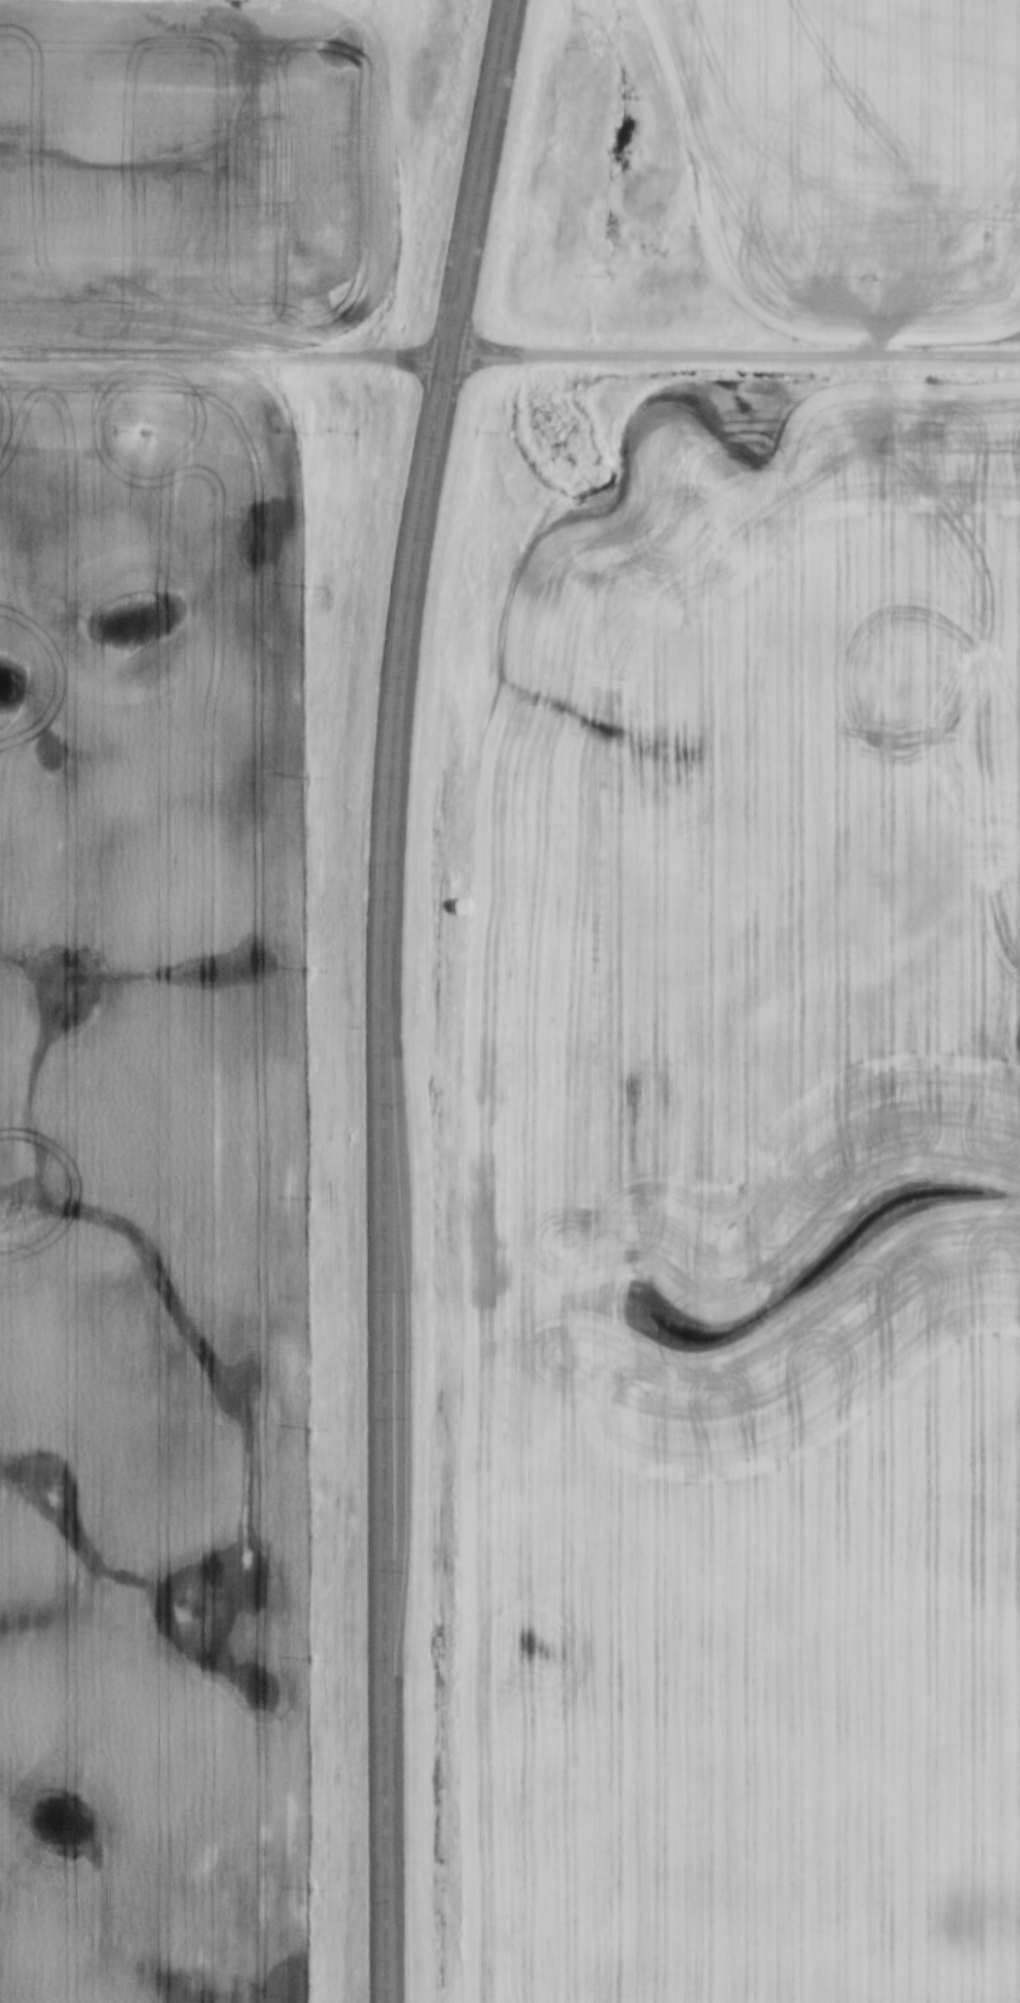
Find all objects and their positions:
road: (509, 354)
road: (386, 996)

